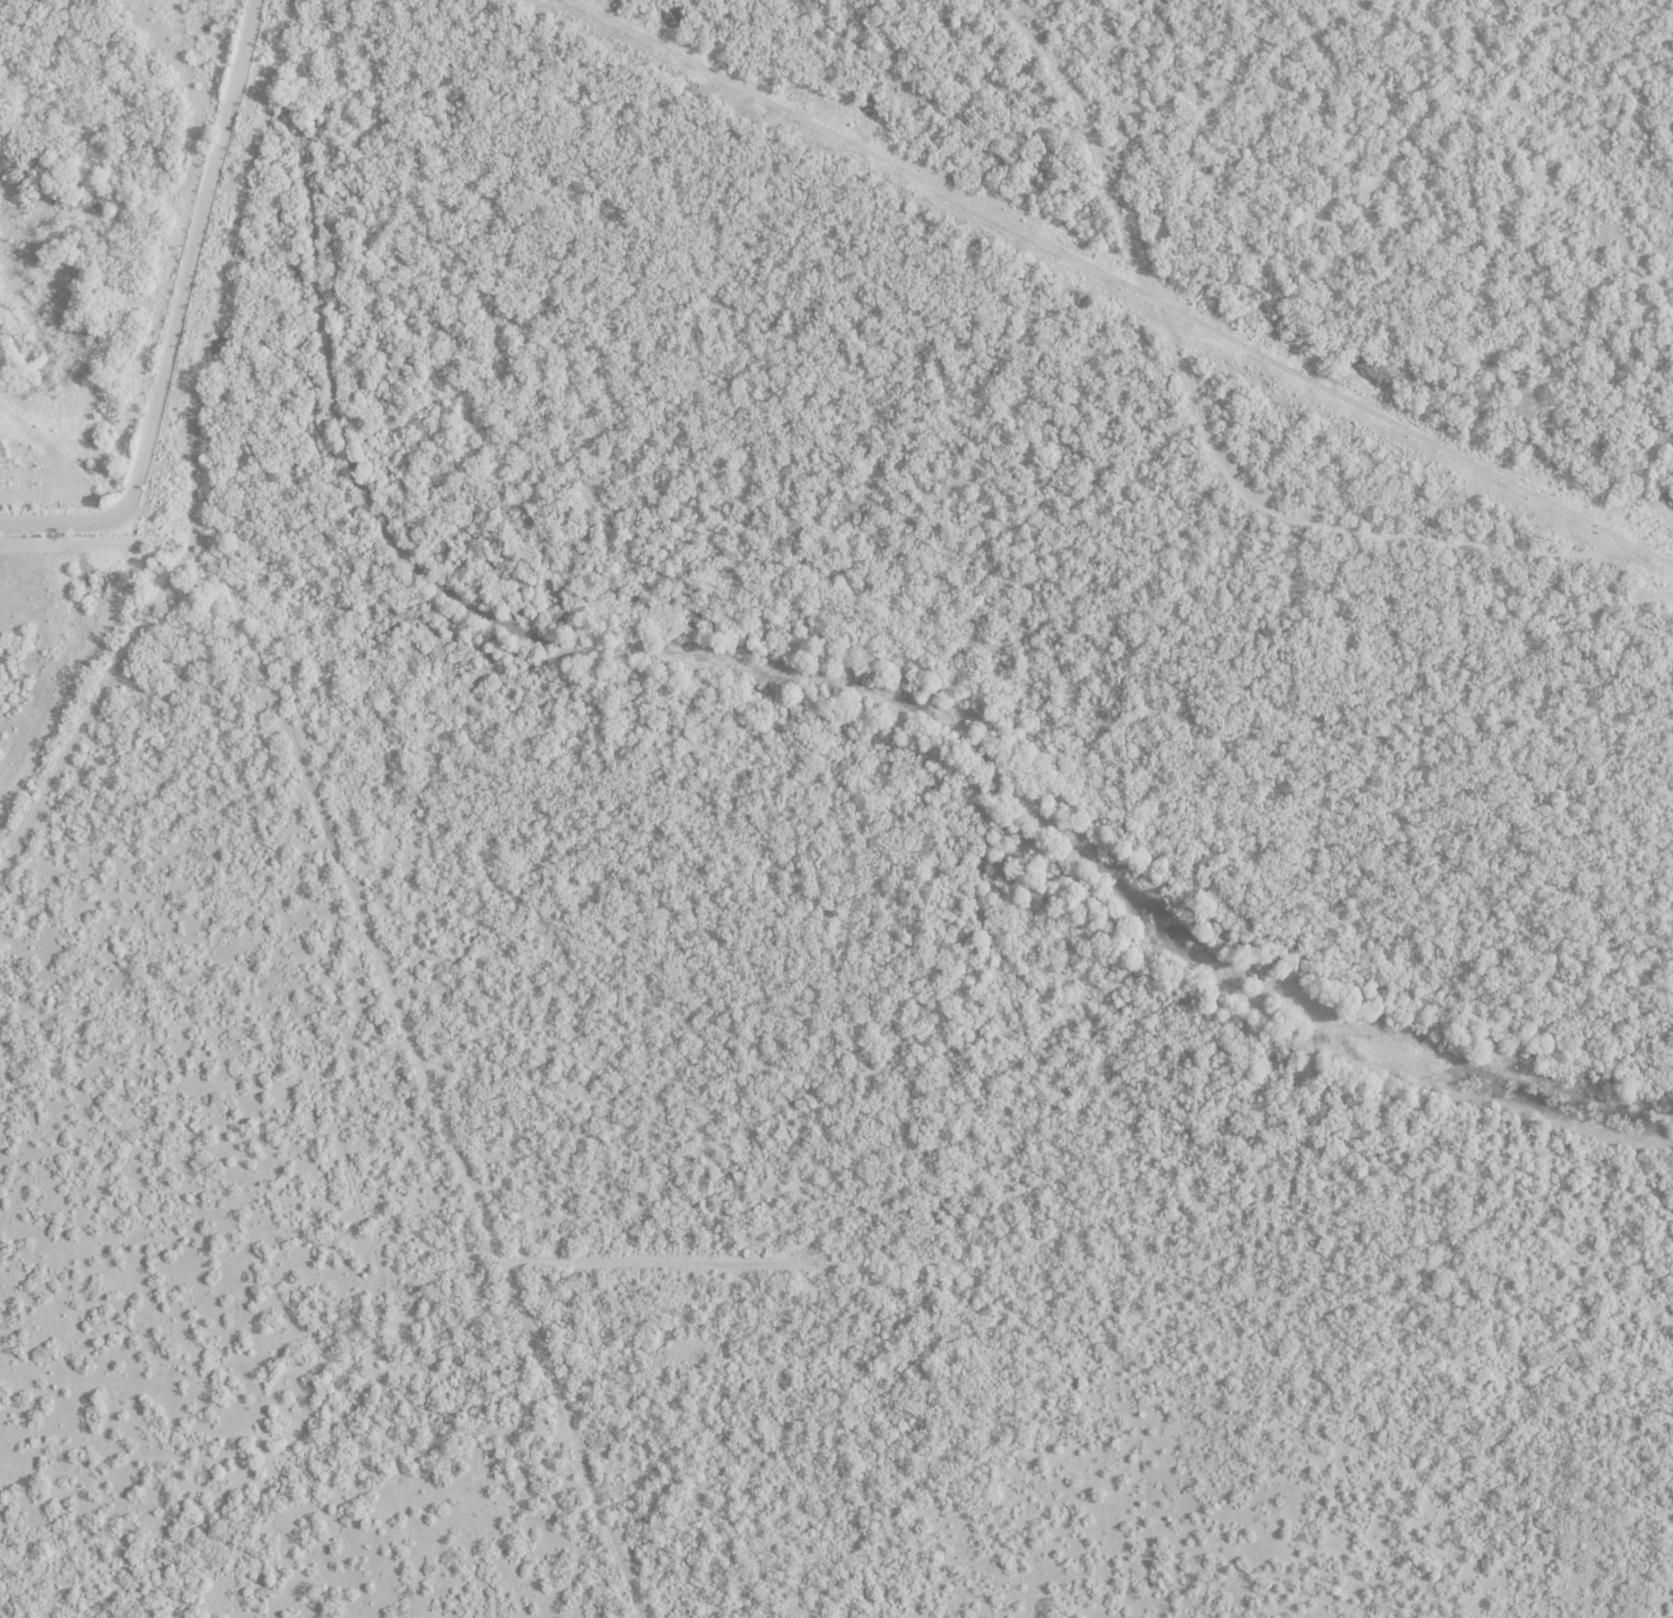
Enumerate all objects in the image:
road: (176, 316)
road: (194, 428)
road: (481, 1195)

